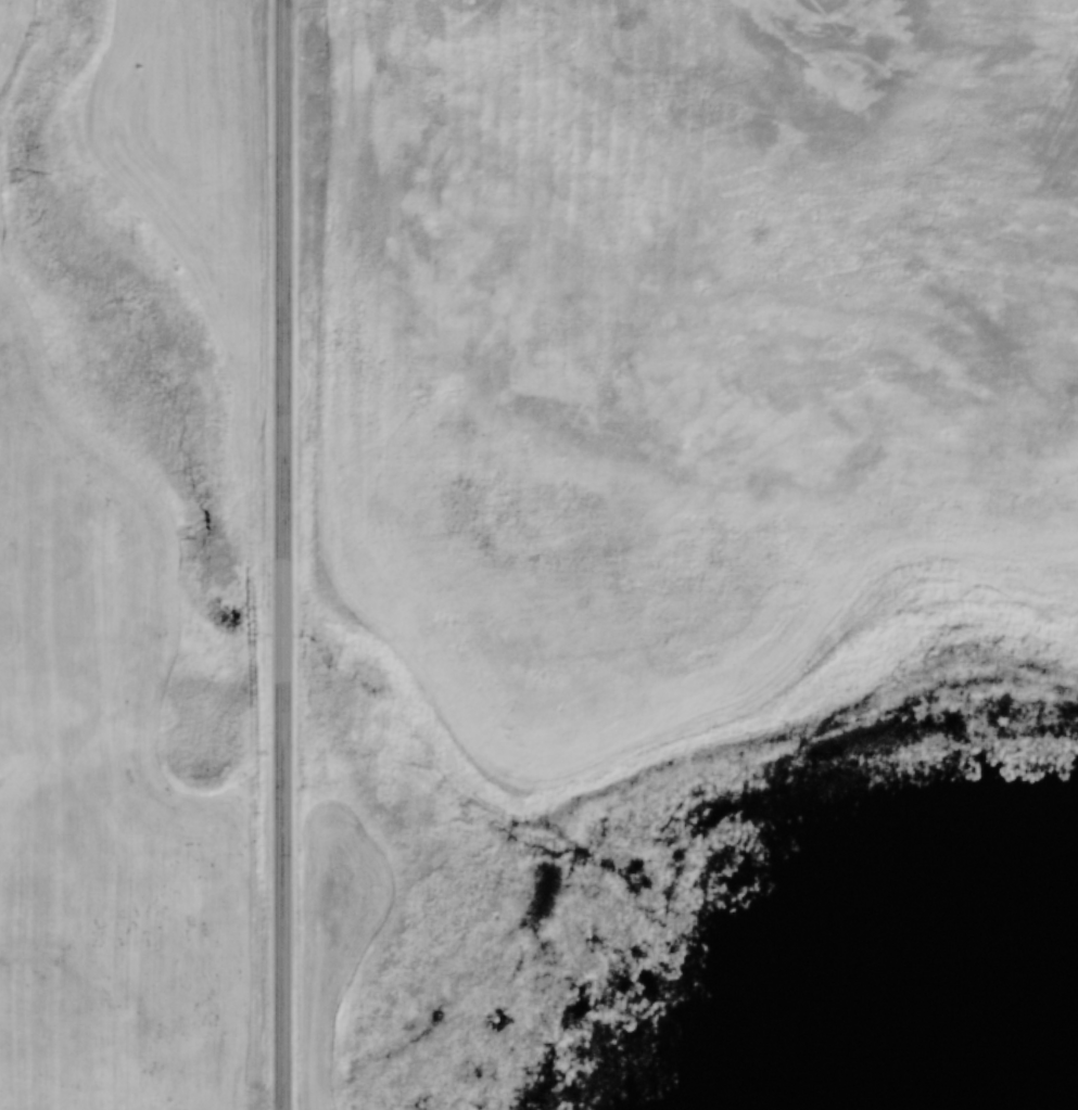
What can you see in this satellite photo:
road: (281, 554)

